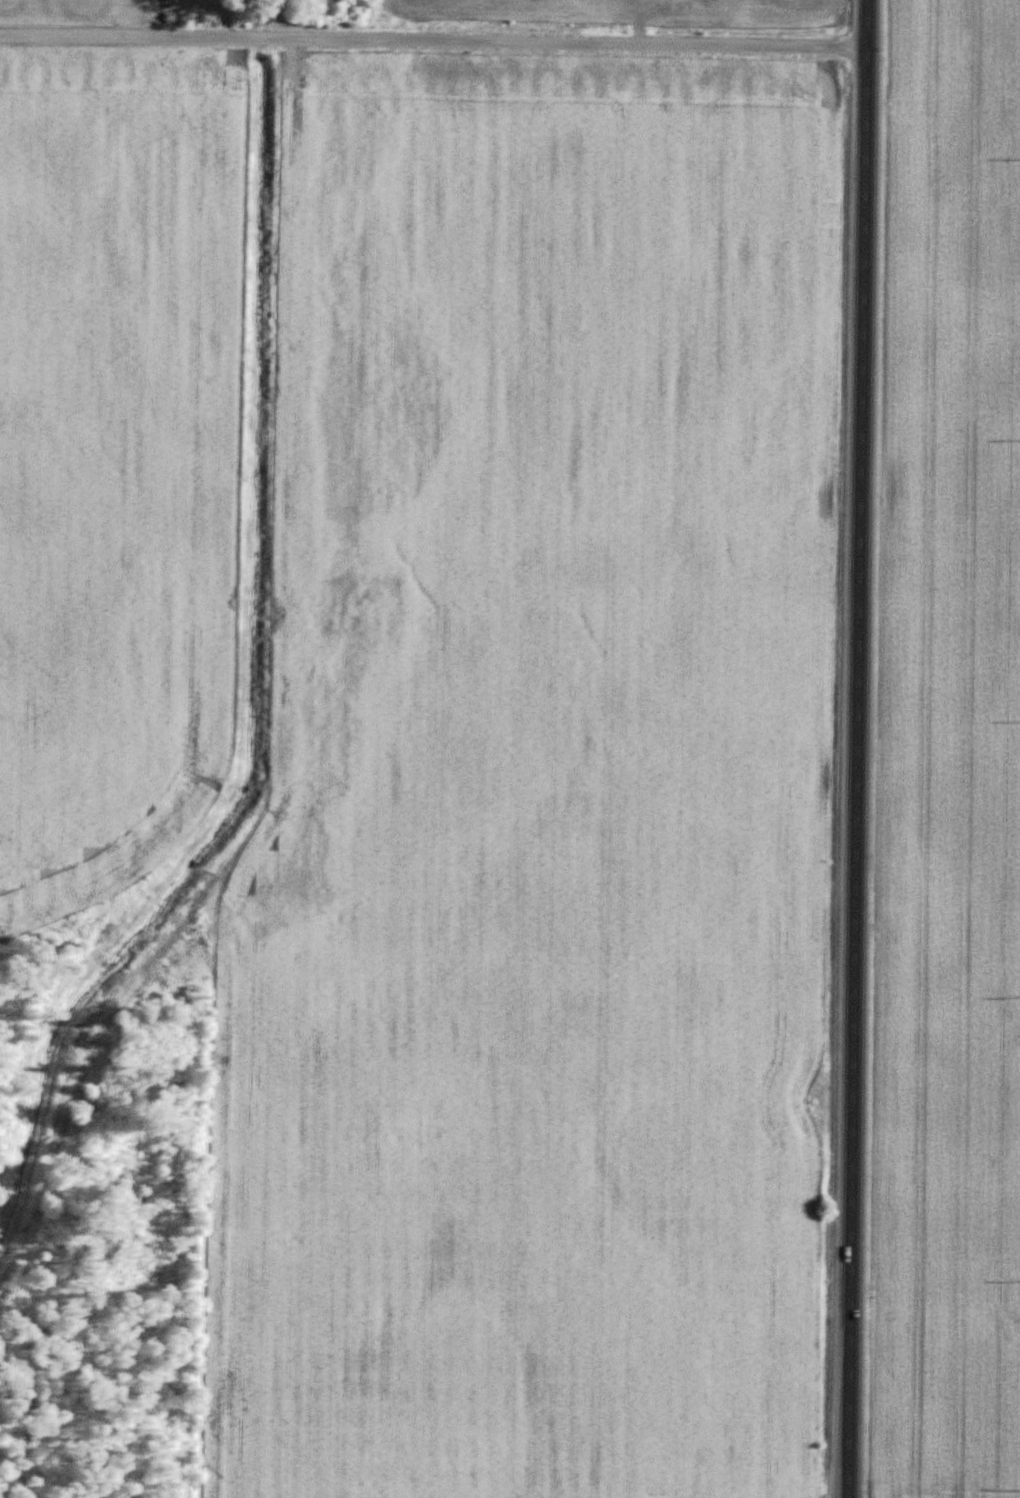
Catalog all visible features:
road: (434, 45)
road: (864, 748)

